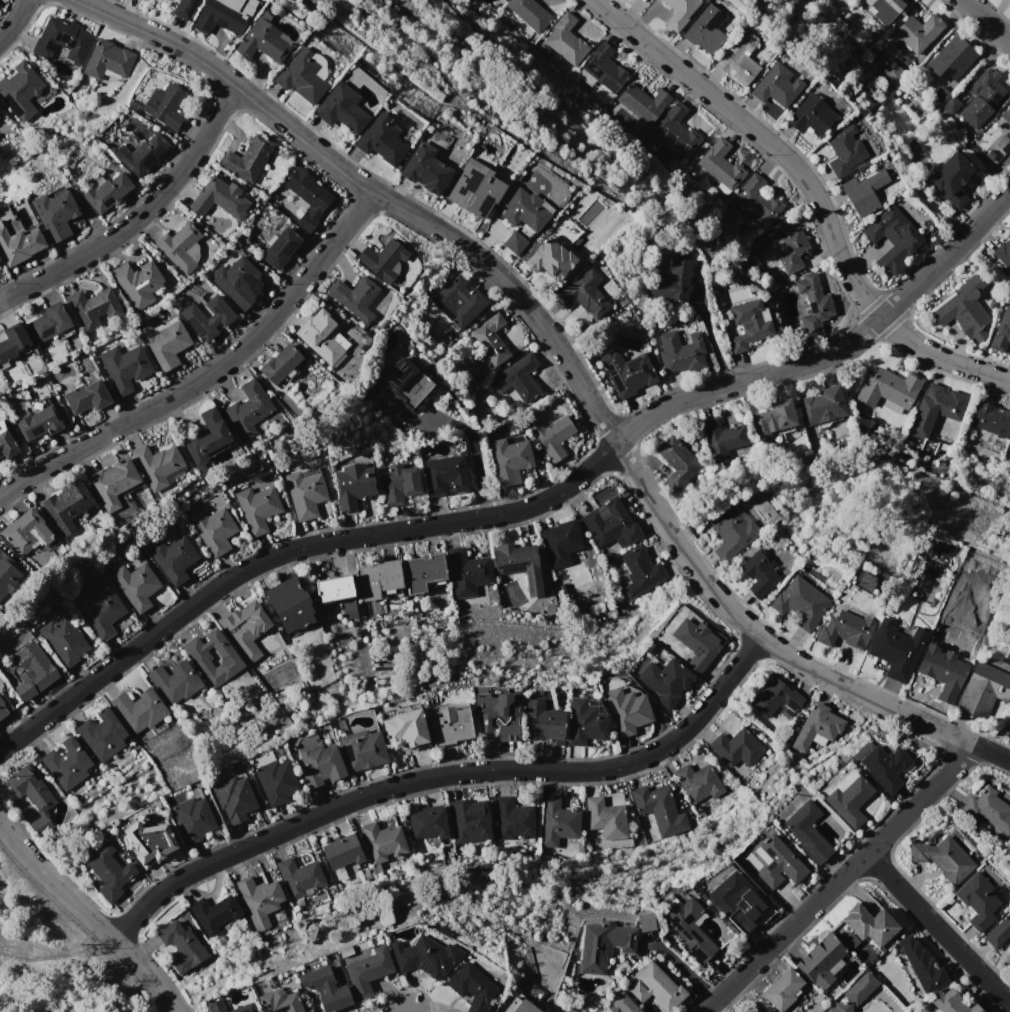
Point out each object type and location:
building: (183, 8)
building: (882, 9)
building: (676, 11)
building: (528, 14)
building: (219, 15)
road: (986, 21)
road: (15, 22)
building: (703, 31)
building: (917, 33)
building: (61, 40)
building: (262, 41)
building: (565, 42)
building: (737, 59)
building: (107, 60)
building: (950, 60)
building: (603, 69)
building: (892, 74)
building: (300, 76)
building: (775, 86)
building: (987, 89)
building: (20, 90)
building: (940, 96)
building: (949, 102)
building: (641, 103)
building: (164, 106)
building: (341, 108)
building: (809, 116)
building: (1006, 116)
building: (676, 131)
building: (381, 138)
building: (1003, 144)
building: (140, 150)
building: (845, 153)
building: (246, 158)
building: (720, 166)
building: (424, 169)
building: (954, 179)
building: (473, 190)
building: (863, 190)
building: (106, 191)
building: (306, 191)
road: (811, 192)
building: (755, 201)
building: (217, 204)
building: (523, 211)
building: (56, 214)
road: (140, 216)
building: (306, 221)
building: (891, 238)
building: (18, 239)
building: (512, 242)
building: (784, 245)
building: (182, 246)
building: (279, 248)
building: (1003, 254)
building: (381, 260)
building: (548, 261)
building: (139, 281)
building: (235, 282)
building: (669, 282)
building: (582, 294)
building: (353, 299)
building: (457, 302)
building: (91, 305)
building: (811, 305)
building: (960, 312)
building: (208, 319)
building: (46, 322)
building: (748, 323)
building: (1001, 330)
building: (323, 337)
road: (710, 337)
building: (489, 340)
building: (12, 341)
building: (163, 344)
building: (678, 351)
road: (565, 362)
building: (279, 364)
building: (123, 367)
road: (211, 373)
building: (627, 373)
building: (516, 379)
building: (401, 381)
building: (885, 388)
building: (85, 397)
building: (939, 403)
building: (820, 405)
building: (248, 409)
building: (774, 417)
building: (989, 418)
building: (36, 422)
building: (551, 436)
building: (205, 437)
building: (723, 438)
building: (5, 443)
road: (478, 456)
building: (507, 461)
building: (676, 462)
building: (157, 466)
building: (442, 475)
building: (111, 482)
building: (397, 484)
building: (351, 486)
building: (304, 493)
building: (64, 507)
building: (256, 508)
road: (525, 509)
building: (610, 524)
building: (212, 531)
building: (731, 532)
building: (26, 534)
building: (558, 546)
building: (172, 559)
building: (518, 565)
building: (758, 571)
building: (419, 573)
building: (464, 573)
building: (639, 573)
building: (8, 575)
building: (376, 579)
building: (863, 580)
building: (134, 585)
building: (330, 590)
building: (798, 602)
building: (287, 605)
building: (99, 612)
building: (243, 627)
building: (845, 628)
building: (62, 641)
building: (695, 644)
building: (894, 648)
building: (211, 656)
building: (34, 666)
building: (940, 670)
building: (664, 681)
building: (173, 682)
building: (23, 690)
building: (982, 692)
building: (772, 696)
building: (137, 710)
building: (2, 711)
building: (625, 711)
building: (495, 718)
building: (540, 723)
building: (584, 724)
building: (814, 724)
building: (448, 726)
building: (1008, 727)
building: (403, 730)
building: (100, 735)
building: (734, 748)
building: (361, 750)
building: (883, 764)
building: (65, 765)
building: (319, 766)
road: (440, 775)
building: (694, 777)
building: (274, 782)
building: (28, 791)
building: (232, 798)
building: (847, 798)
building: (658, 805)
building: (988, 809)
building: (512, 817)
building: (605, 817)
building: (191, 819)
building: (468, 820)
building: (556, 822)
building: (428, 824)
building: (805, 831)
building: (382, 839)
building: (149, 845)
building: (340, 852)
building: (941, 858)
building: (777, 862)
building: (297, 875)
building: (107, 876)
road: (835, 877)
building: (258, 894)
building: (732, 900)
building: (976, 900)
building: (214, 914)
road: (87, 917)
building: (643, 921)
building: (869, 924)
building: (687, 925)
road: (936, 927)
building: (998, 932)
building: (181, 947)
building: (604, 949)
building: (1009, 949)
road: (55, 955)
park: (55, 958)
building: (423, 958)
building: (821, 961)
building: (922, 966)
road: (681, 967)
building: (365, 972)
building: (653, 985)
building: (324, 986)
building: (469, 988)
building: (783, 990)
building: (855, 993)
building: (278, 1002)
building: (951, 1003)
building: (622, 1004)
building: (215, 1007)
building: (519, 1008)
building: (243, 1009)
road: (405, 1011)
building: (759, 1011)

